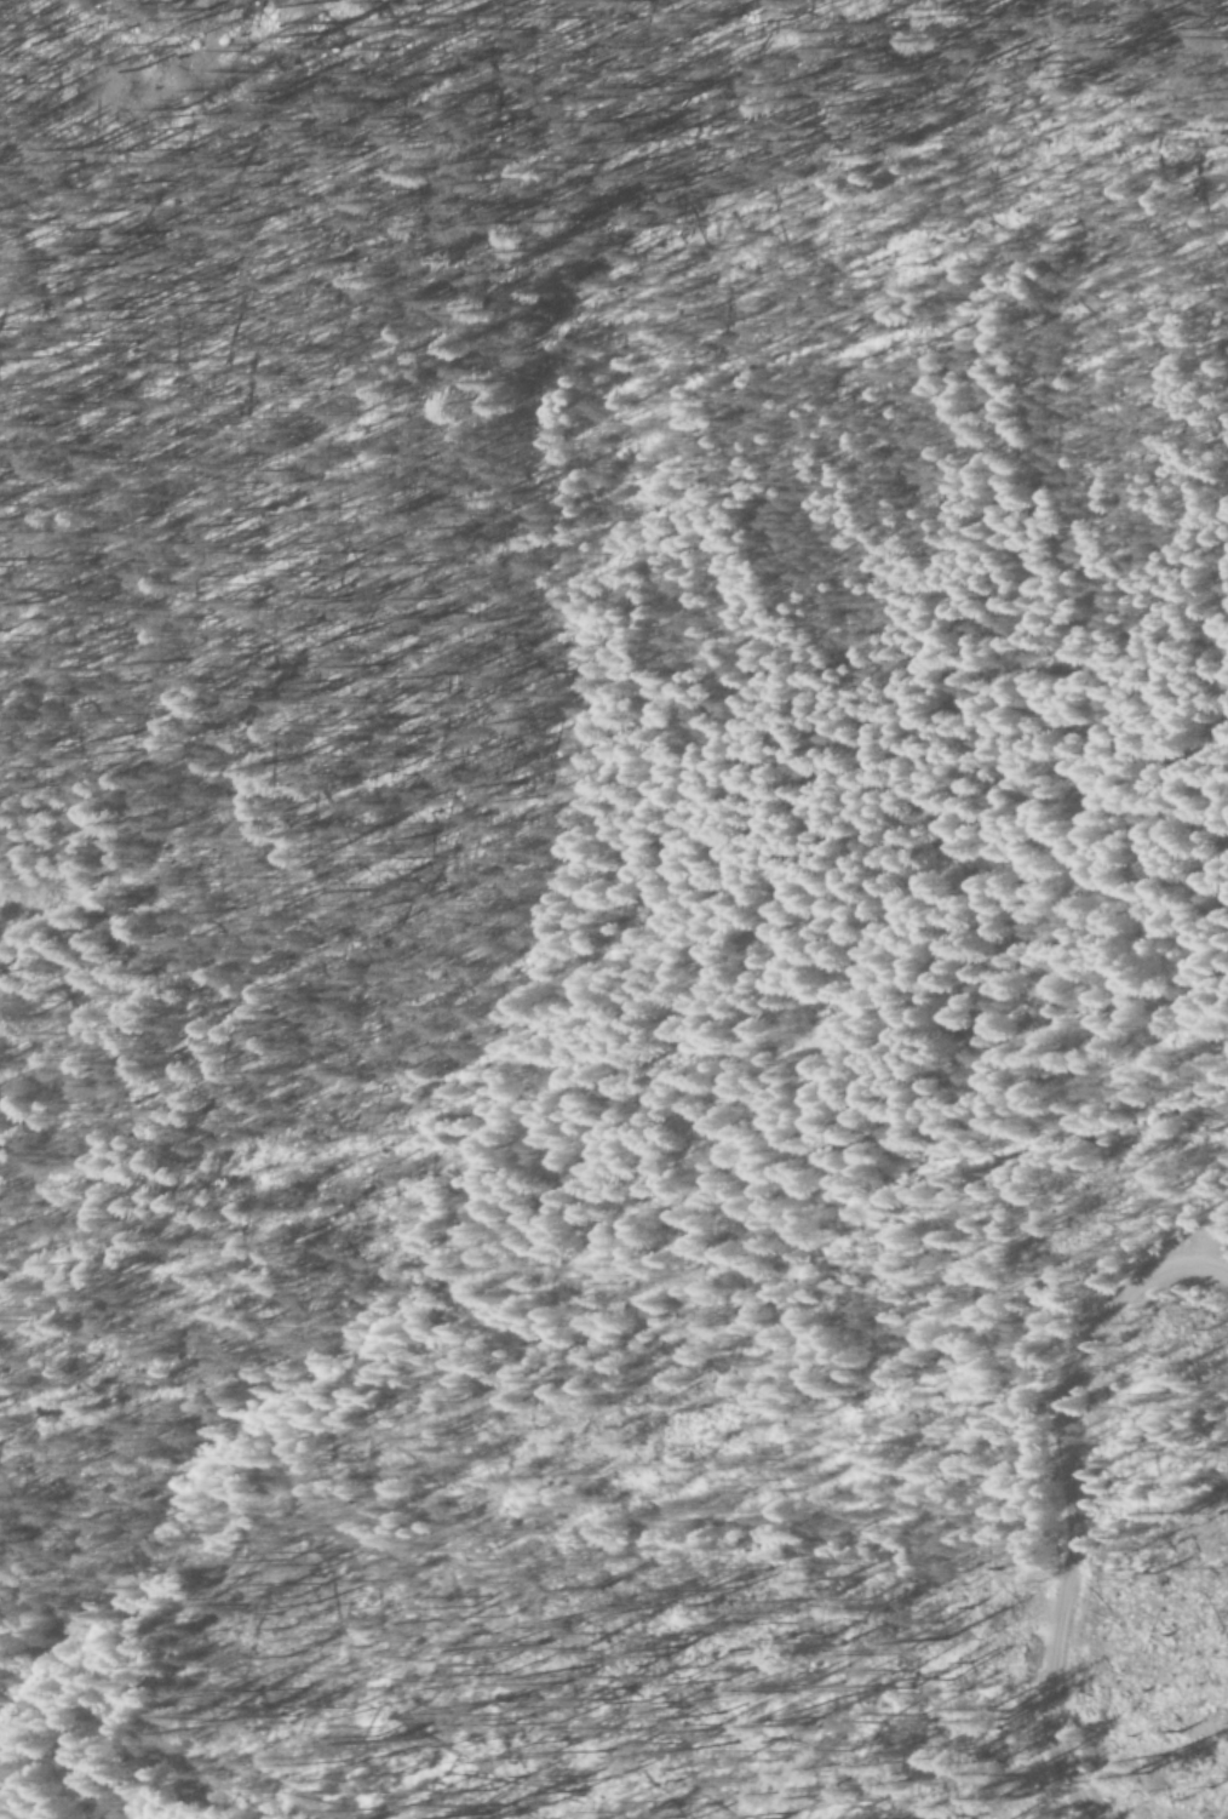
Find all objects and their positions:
road: (1097, 1493)

